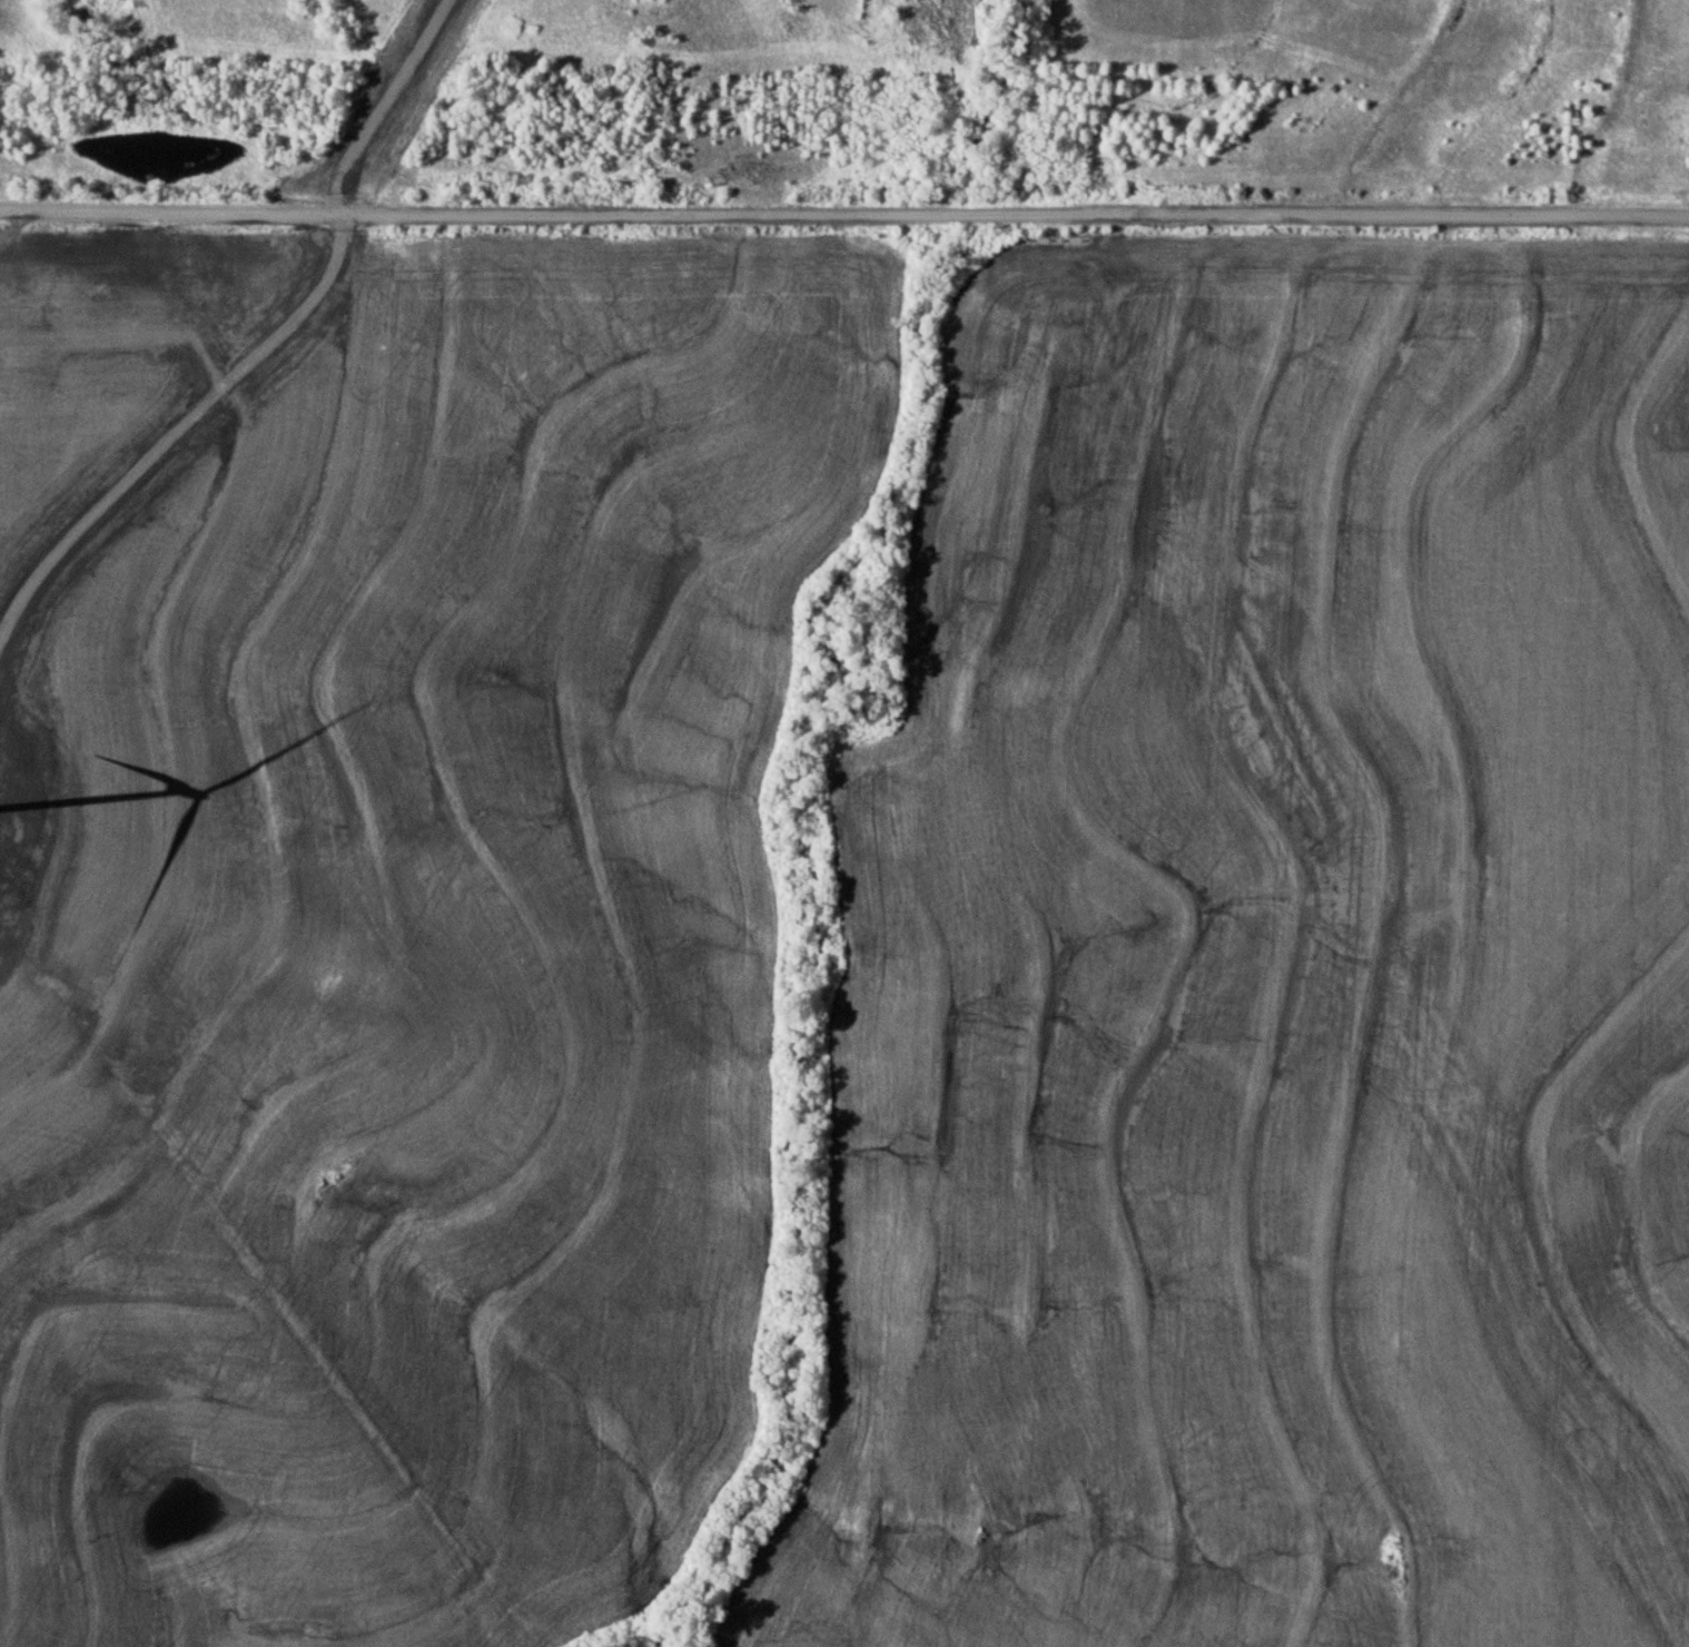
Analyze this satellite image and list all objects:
road: (844, 209)

